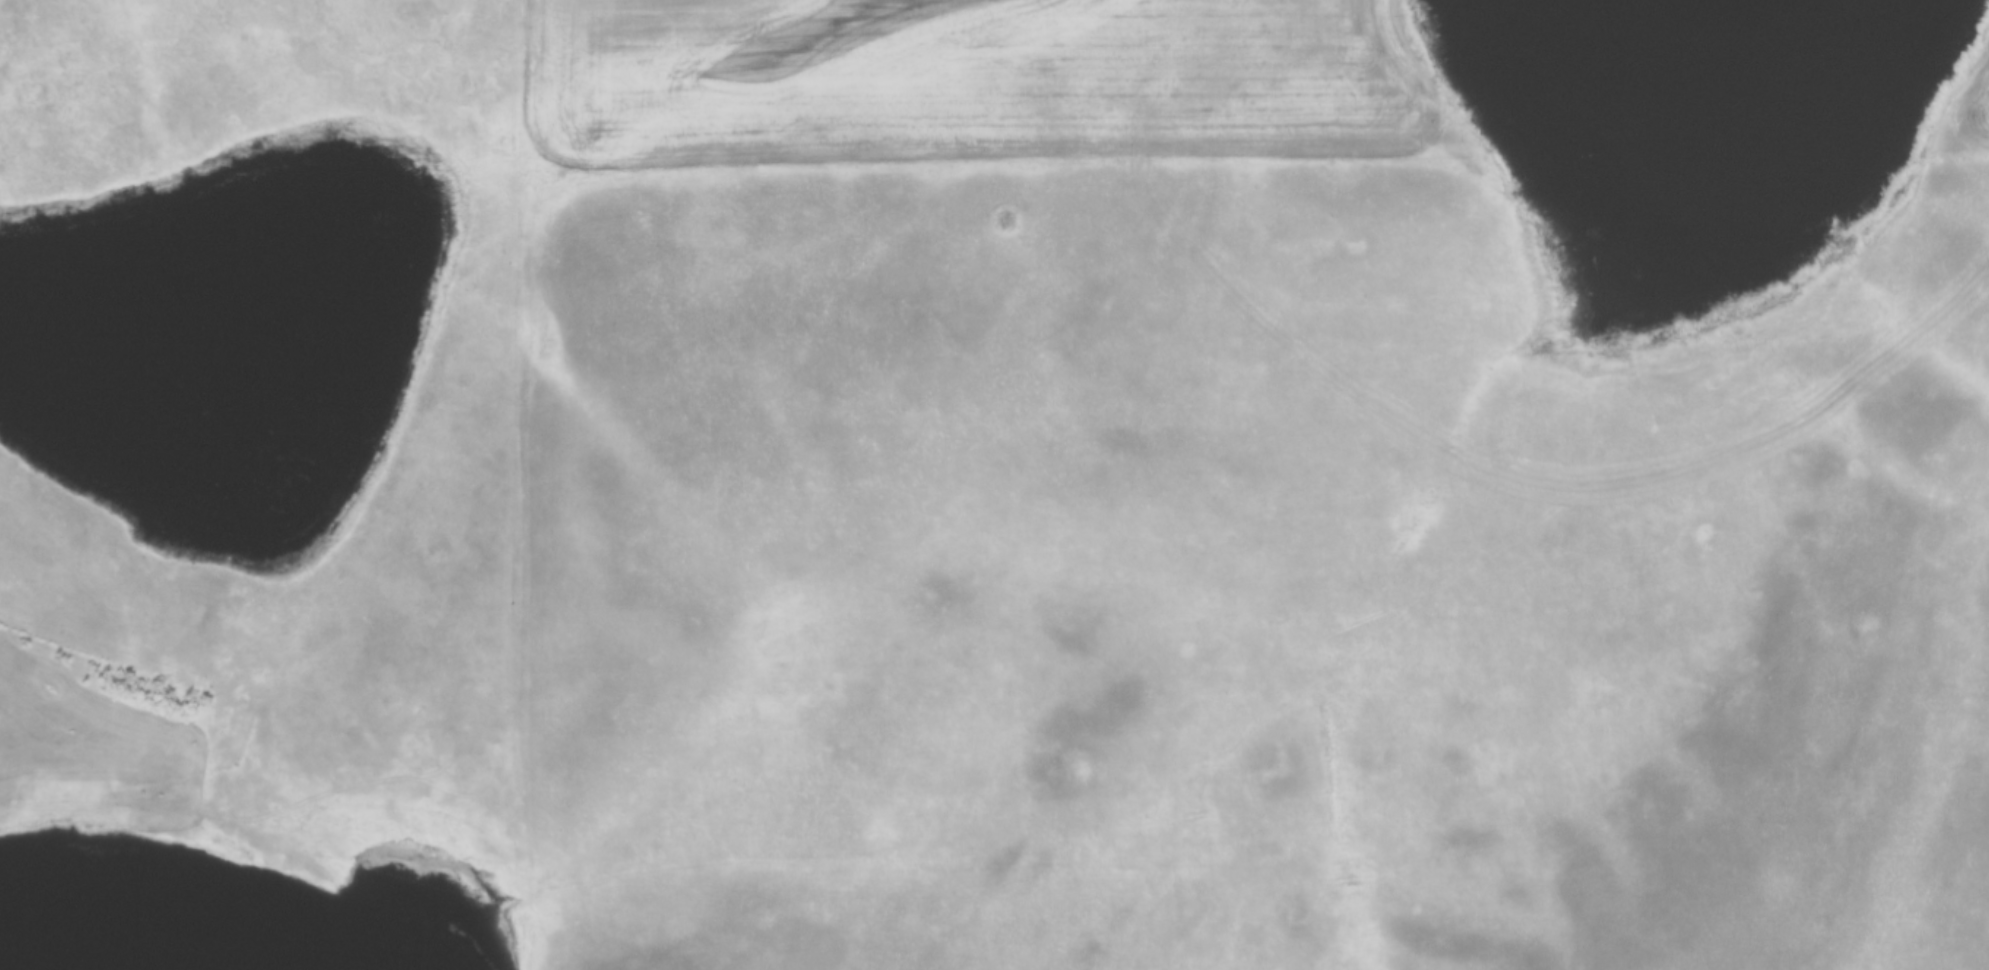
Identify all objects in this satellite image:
road: (136, 807)
road: (976, 858)

